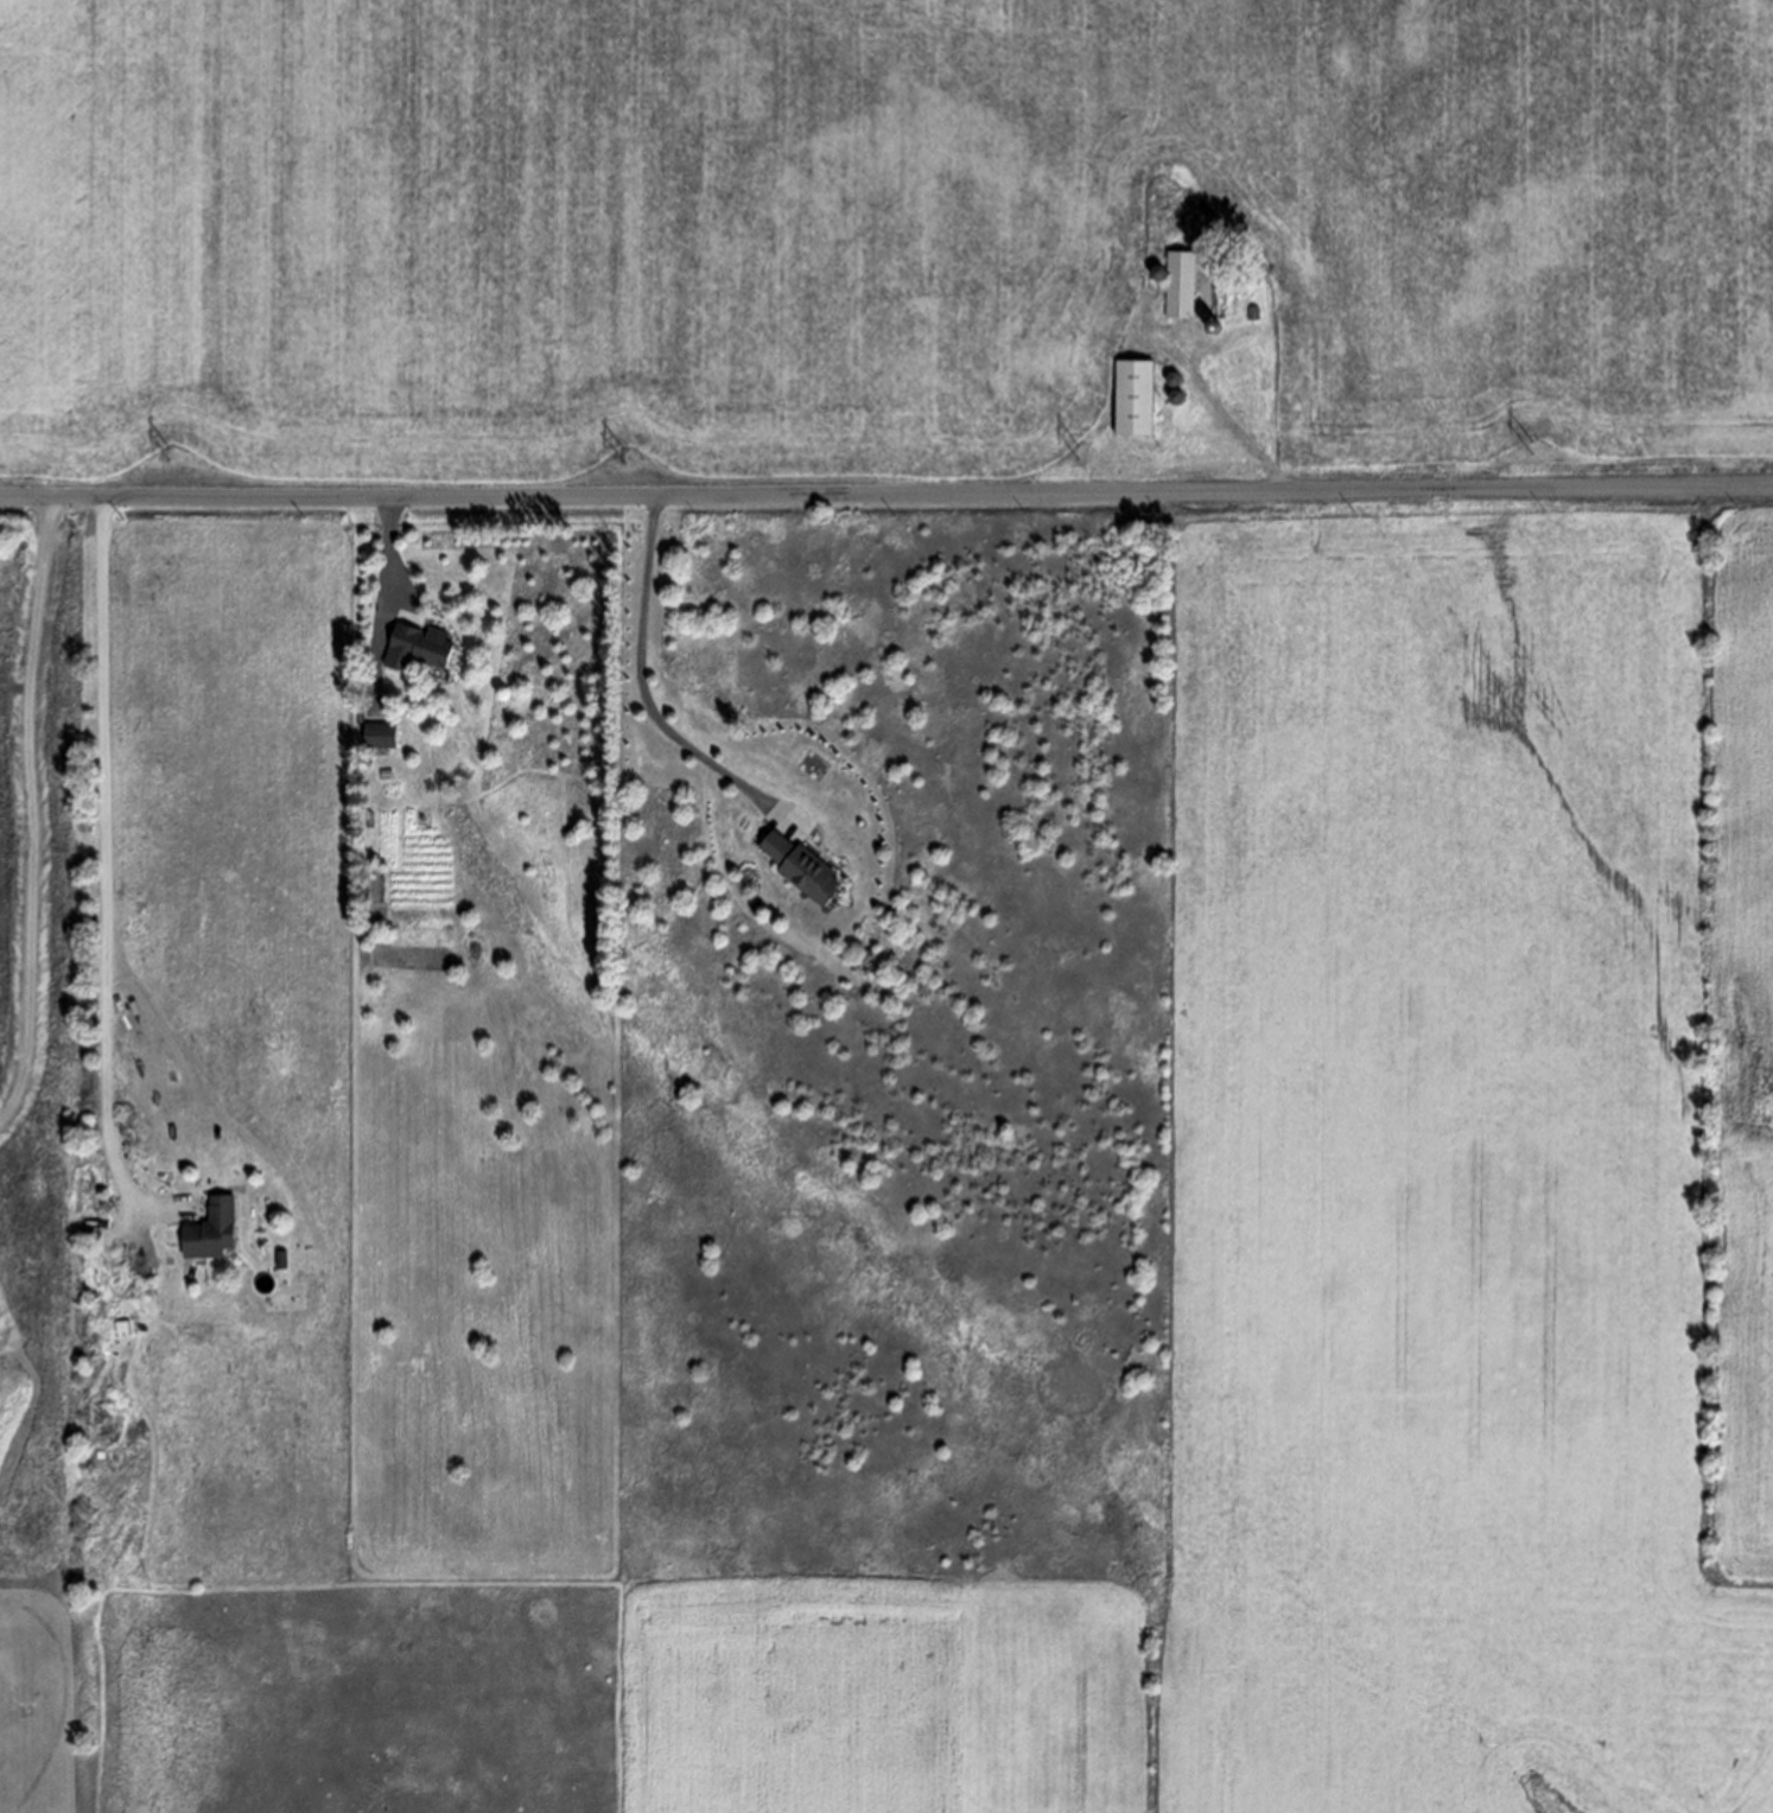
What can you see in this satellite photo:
building: (1181, 285)
building: (1135, 397)
road: (1224, 411)
road: (885, 492)
road: (393, 607)
building: (418, 648)
road: (646, 694)
building: (382, 736)
building: (803, 869)
road: (107, 883)
building: (211, 1228)

